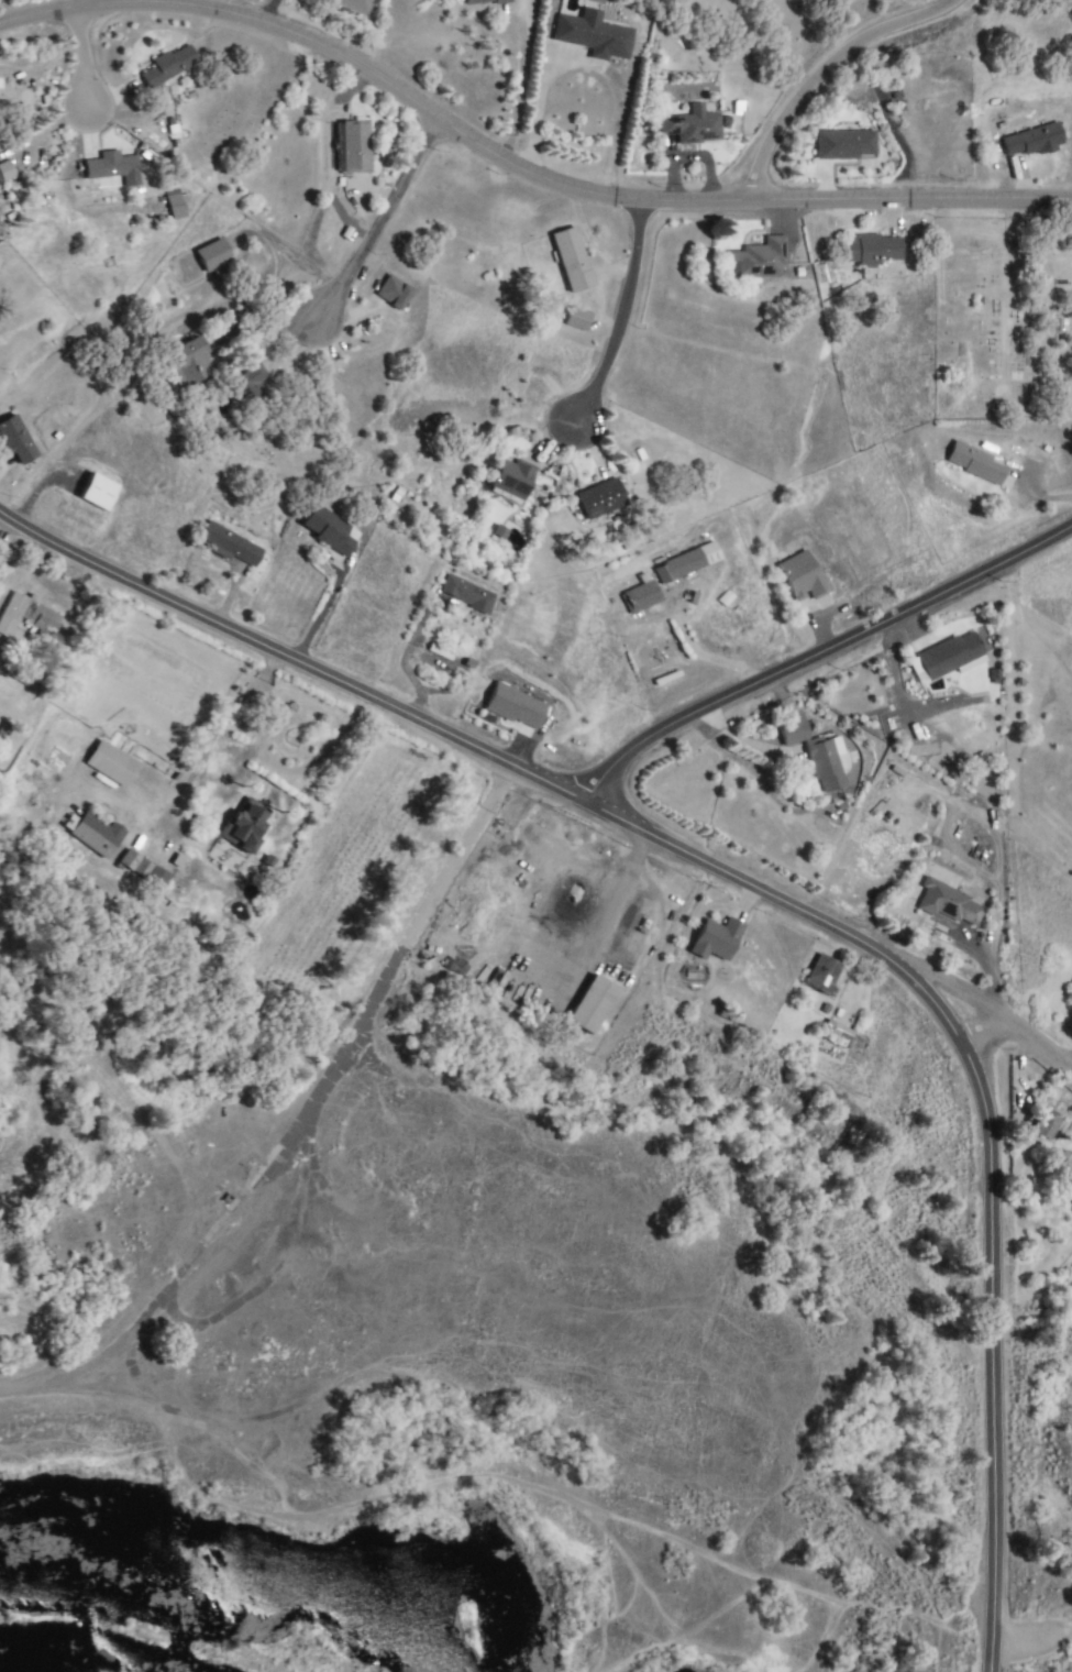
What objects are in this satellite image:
building: (484, 0)
building: (360, 4)
building: (595, 35)
road: (87, 62)
building: (169, 66)
road: (829, 73)
road: (542, 86)
building: (693, 127)
building: (1034, 141)
building: (846, 144)
building: (355, 147)
building: (113, 165)
road: (517, 165)
building: (5, 172)
building: (174, 205)
road: (380, 226)
building: (872, 250)
building: (214, 255)
building: (759, 260)
building: (573, 261)
building: (394, 293)
building: (578, 319)
road: (622, 321)
building: (190, 361)
building: (252, 387)
building: (16, 439)
building: (976, 463)
building: (511, 481)
building: (99, 491)
building: (601, 498)
building: (325, 530)
building: (499, 532)
building: (234, 546)
building: (688, 562)
building: (799, 573)
building: (469, 593)
building: (642, 595)
building: (725, 597)
road: (320, 613)
building: (27, 616)
road: (820, 654)
building: (948, 657)
road: (404, 659)
building: (26, 670)
building: (515, 703)
building: (793, 730)
road: (215, 732)
road: (750, 743)
building: (111, 762)
building: (827, 763)
building: (247, 825)
building: (96, 834)
building: (145, 870)
road: (778, 899)
building: (949, 903)
building: (718, 938)
building: (824, 975)
building: (1070, 993)
road: (973, 994)
building: (594, 1004)
road: (358, 1024)
road: (993, 1028)
building: (833, 1032)
building: (1047, 1124)

